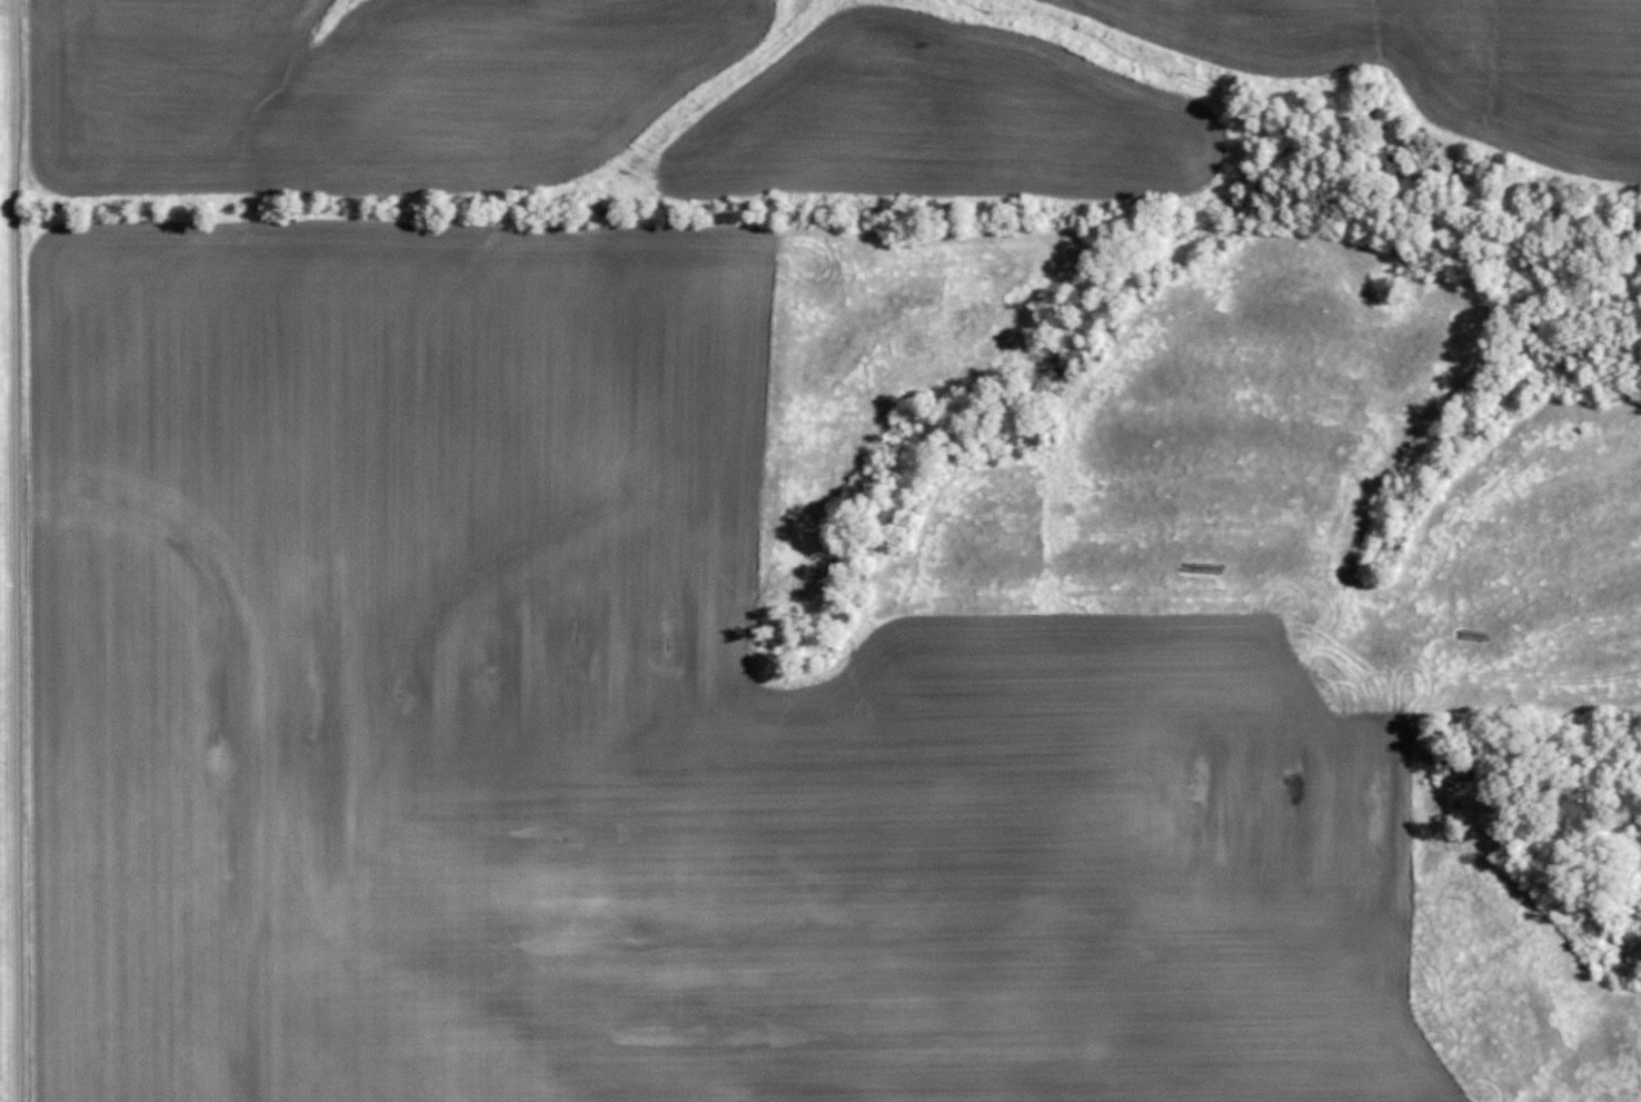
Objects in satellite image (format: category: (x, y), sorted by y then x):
road: (16, 550)

